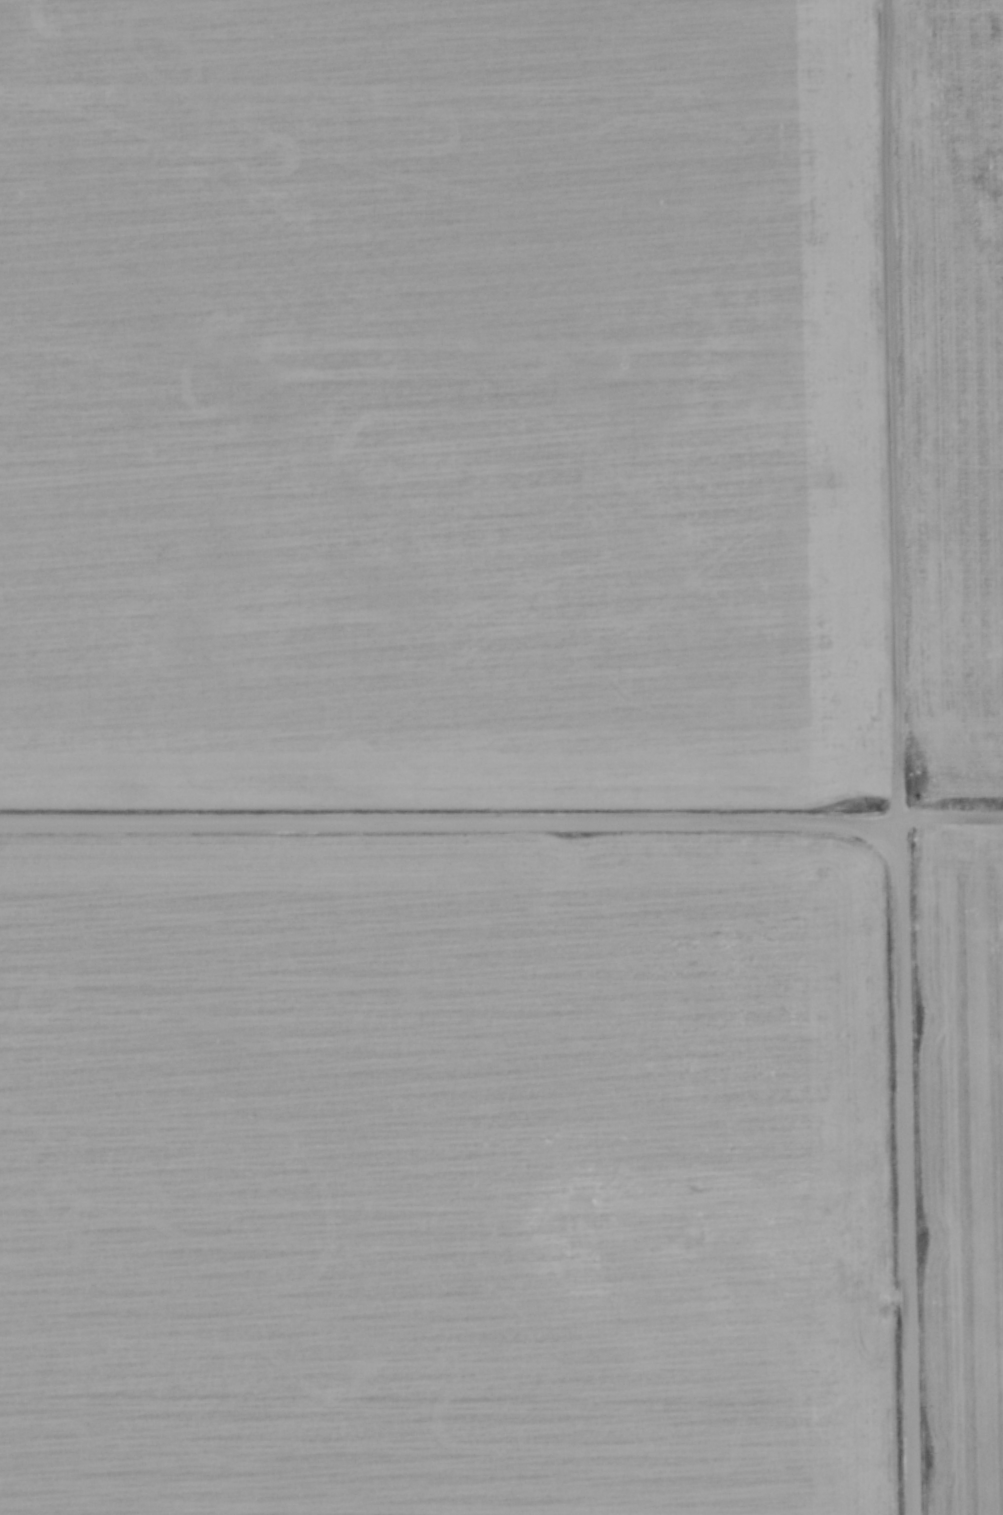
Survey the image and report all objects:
crop: (441, 406)
road: (893, 757)
road: (501, 823)
crop: (961, 1162)
crop: (419, 1172)
building: (543, 1217)
building: (696, 1217)
building: (619, 1275)
road: (760, 1278)

